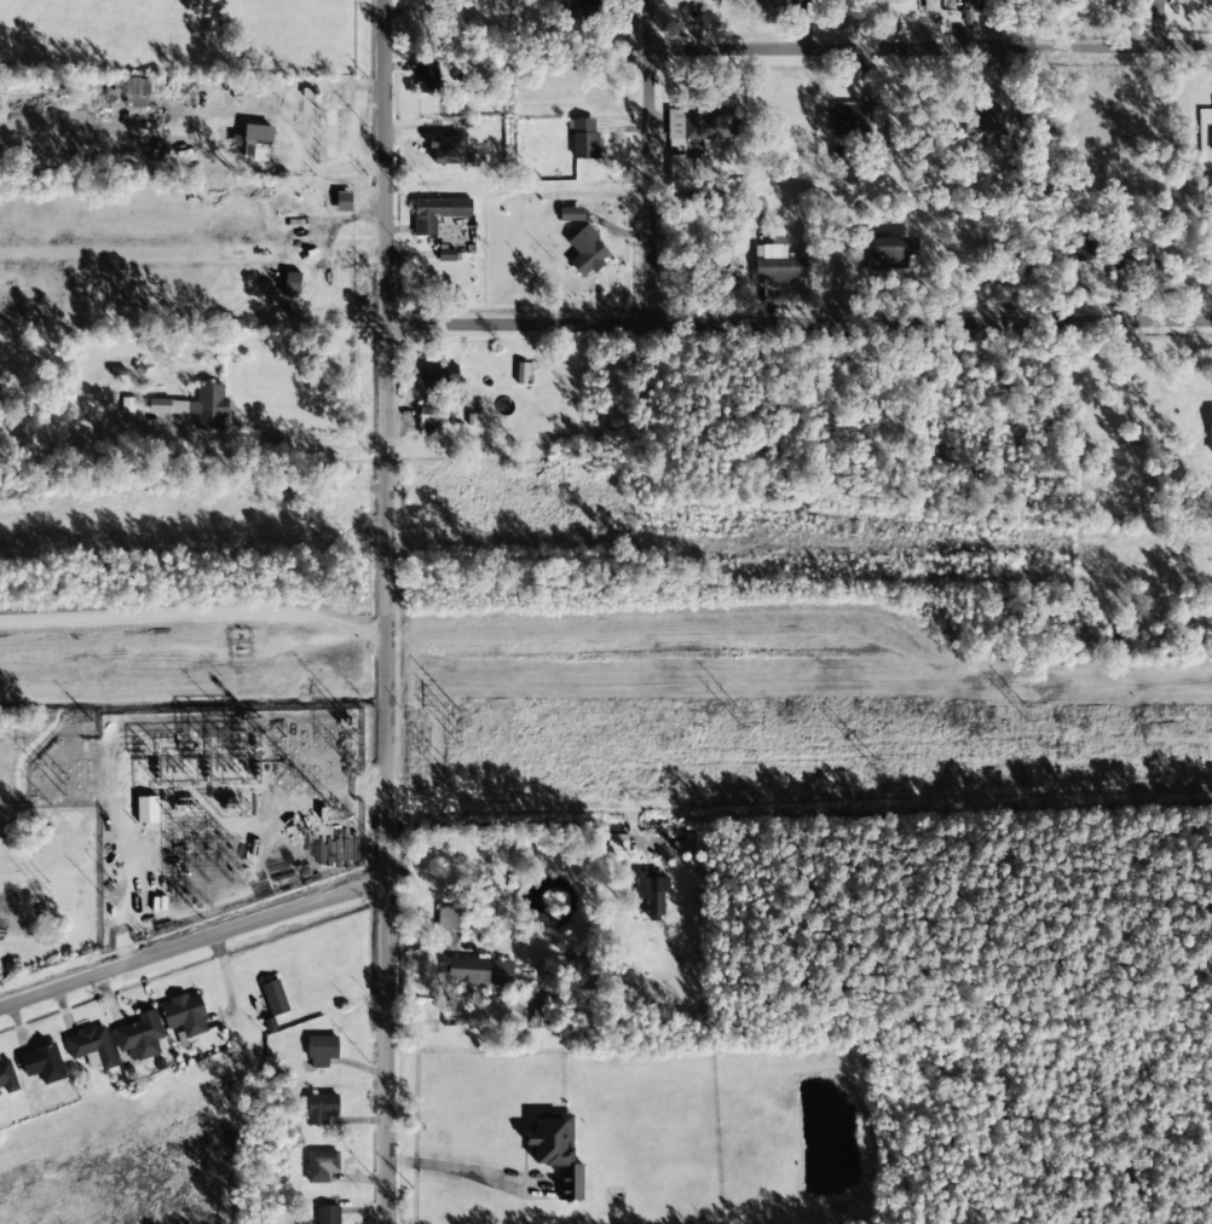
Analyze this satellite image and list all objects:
building: (884, 0)
building: (973, 4)
building: (931, 5)
road: (930, 48)
building: (427, 76)
building: (140, 92)
building: (854, 117)
building: (982, 119)
building: (709, 123)
building: (1211, 133)
building: (584, 138)
building: (256, 142)
building: (432, 151)
road: (650, 161)
building: (679, 167)
building: (700, 168)
building: (344, 201)
building: (437, 213)
building: (571, 214)
building: (588, 248)
building: (893, 250)
building: (777, 262)
building: (293, 283)
road: (798, 321)
building: (520, 373)
building: (439, 377)
building: (197, 406)
building: (431, 420)
building: (1210, 428)
road: (387, 438)
road: (800, 798)
building: (146, 809)
power substation: (224, 812)
power tower: (99, 835)
building: (687, 843)
building: (650, 893)
building: (449, 916)
road: (194, 943)
building: (478, 971)
building: (275, 997)
building: (539, 1014)
building: (185, 1015)
building: (139, 1035)
building: (91, 1046)
building: (321, 1050)
road: (387, 1051)
building: (42, 1063)
building: (7, 1076)
building: (321, 1108)
building: (556, 1153)
building: (319, 1166)
building: (328, 1214)

